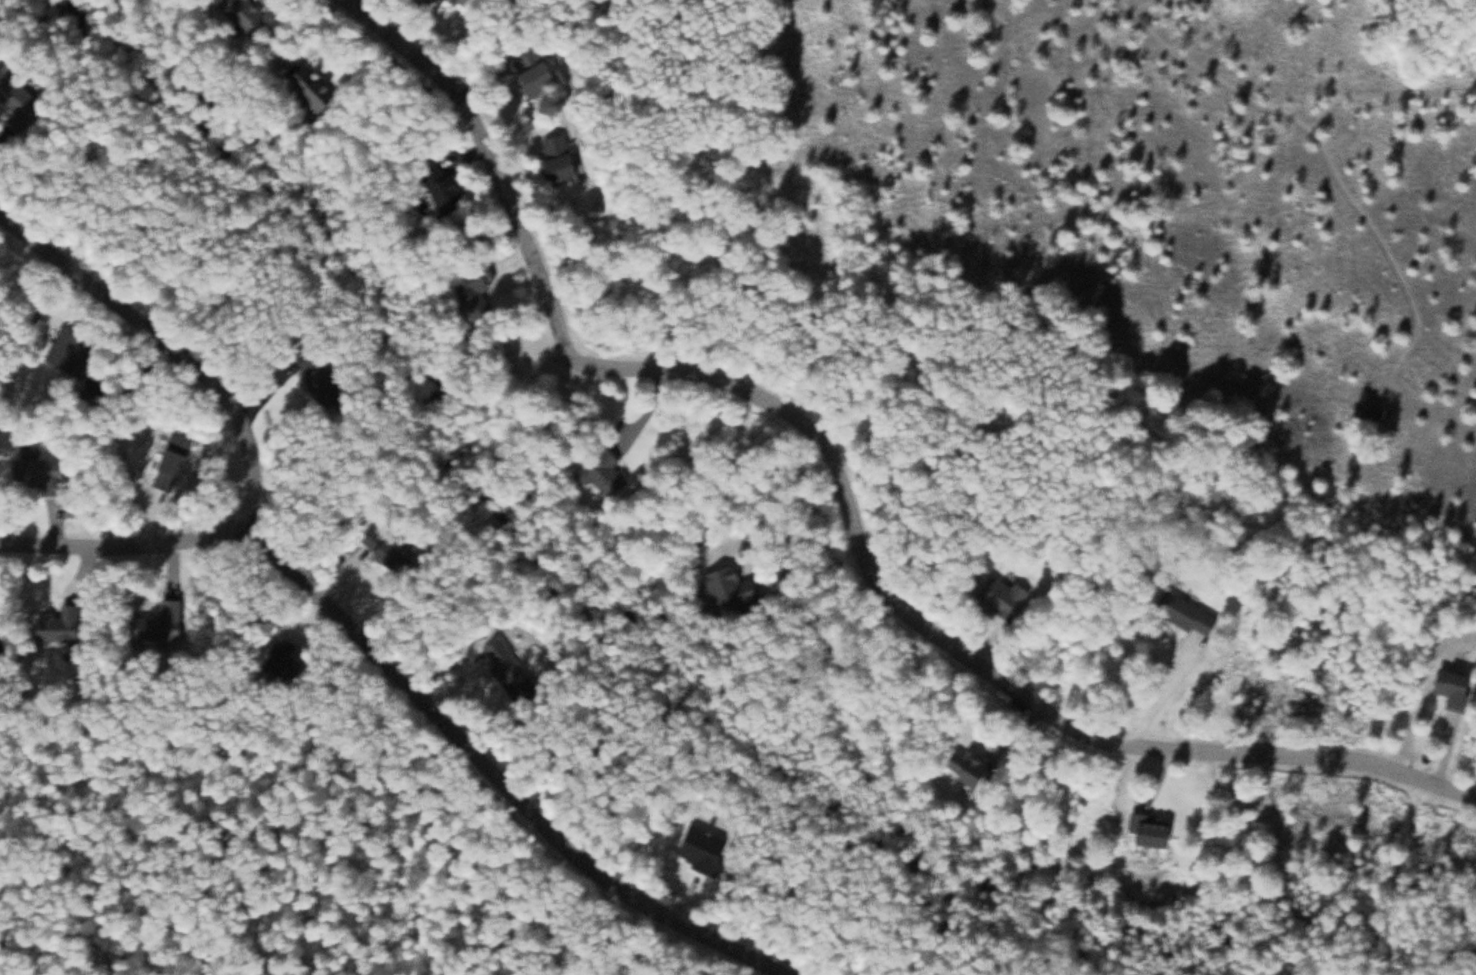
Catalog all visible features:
building: (459, 3)
building: (258, 13)
building: (547, 69)
building: (322, 90)
building: (574, 165)
building: (451, 187)
building: (484, 287)
building: (78, 351)
building: (335, 377)
road: (250, 434)
building: (182, 455)
building: (612, 473)
building: (54, 474)
road: (847, 488)
building: (405, 556)
building: (1009, 594)
building: (80, 597)
building: (1193, 613)
building: (169, 621)
building: (517, 671)
building: (1461, 688)
road: (497, 771)
building: (989, 774)
building: (1164, 830)

